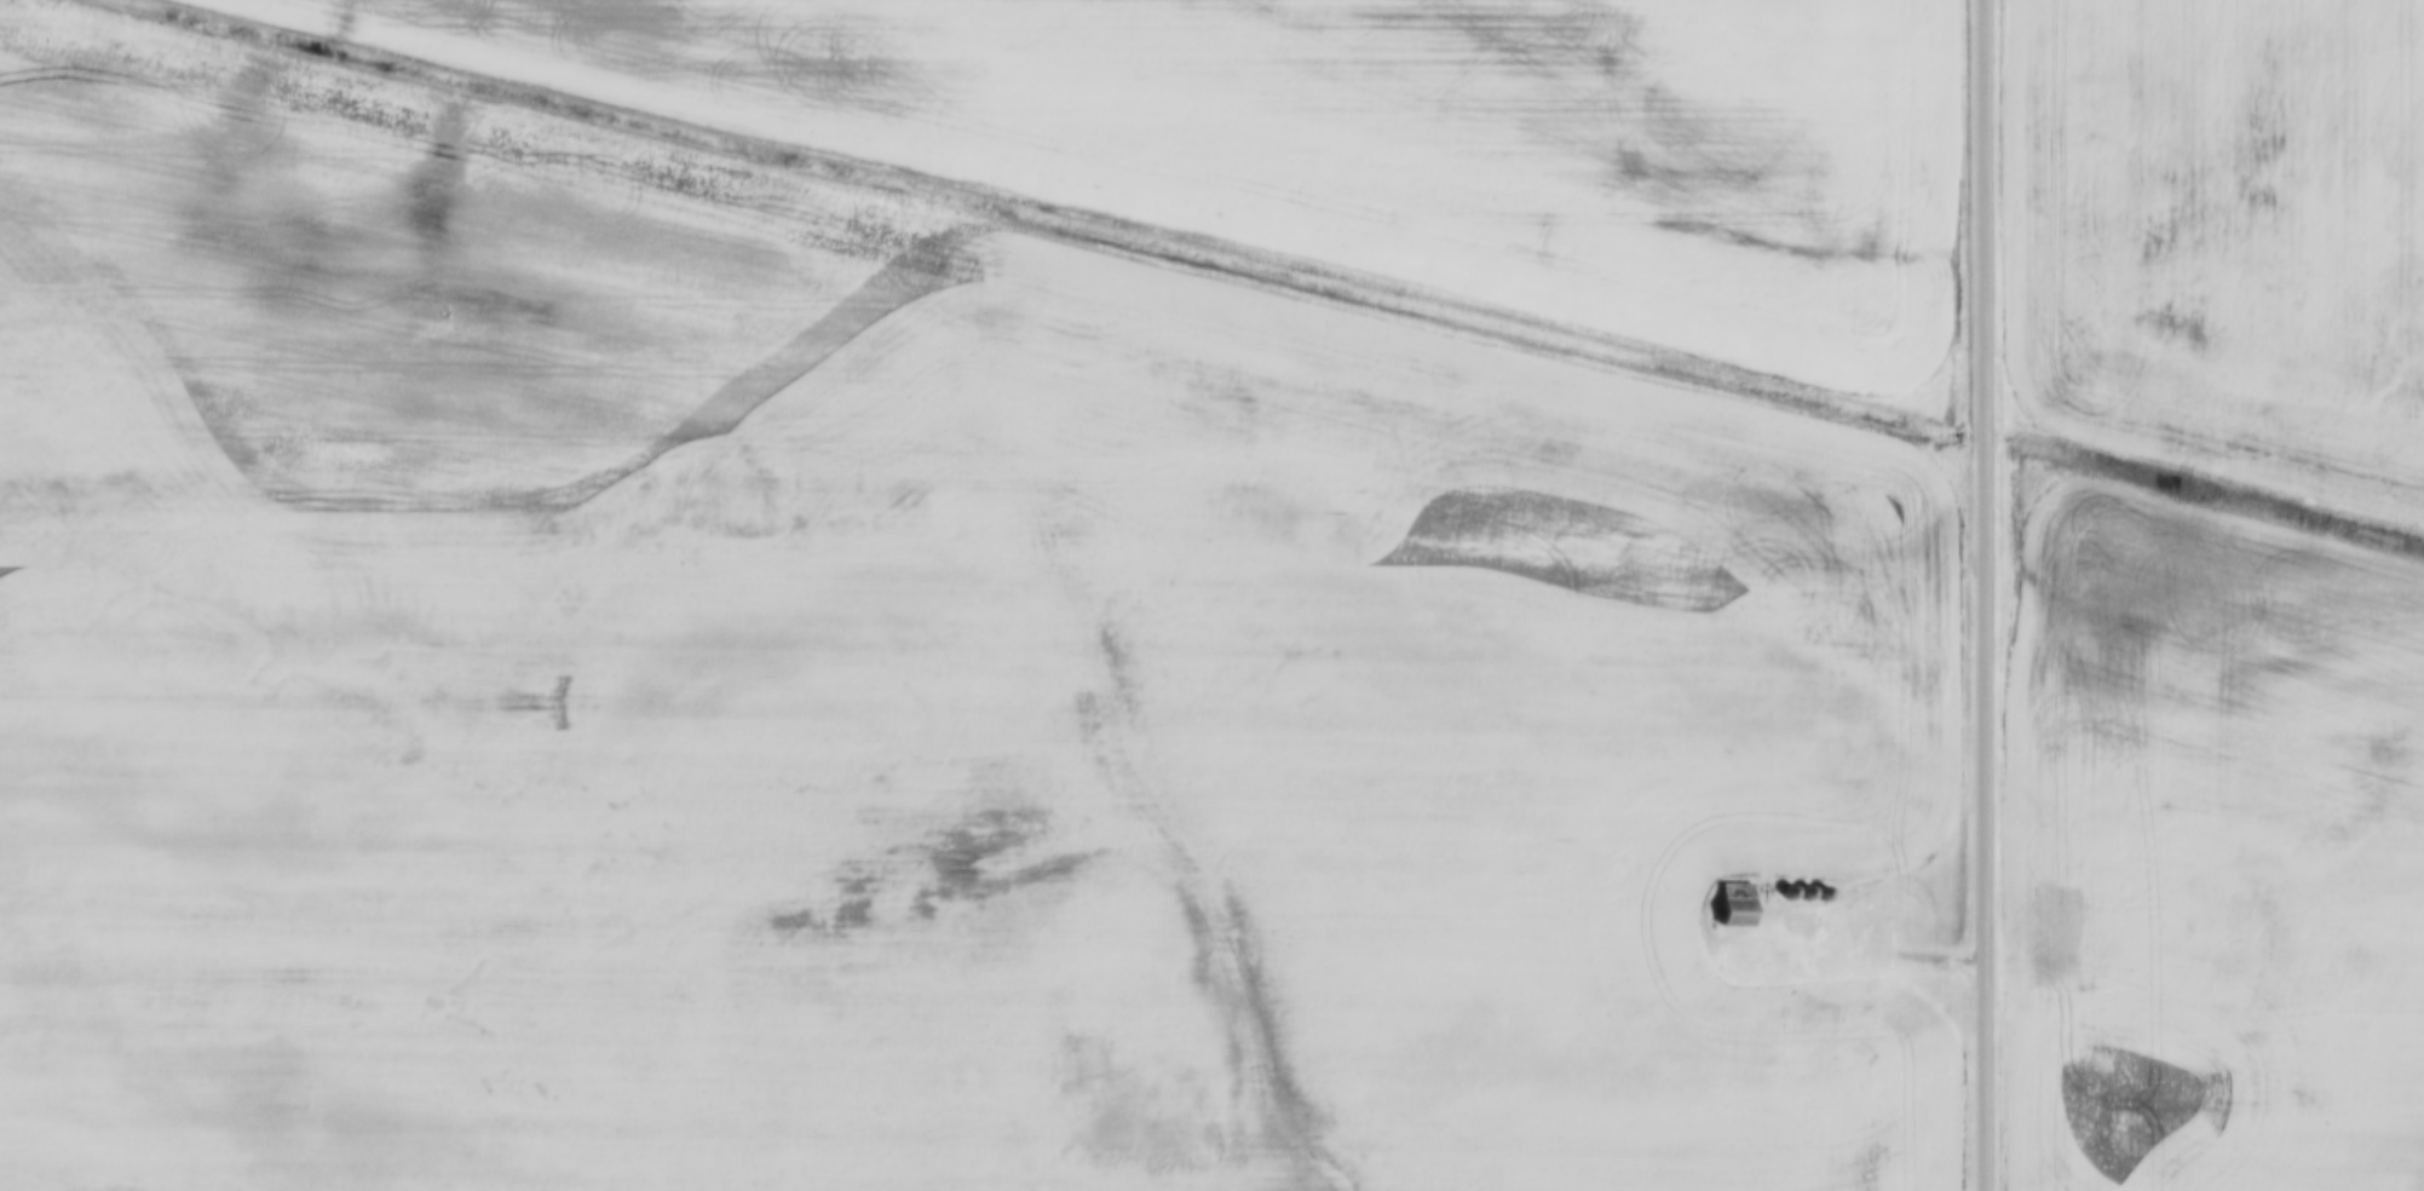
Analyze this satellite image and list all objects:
road: (1990, 595)

